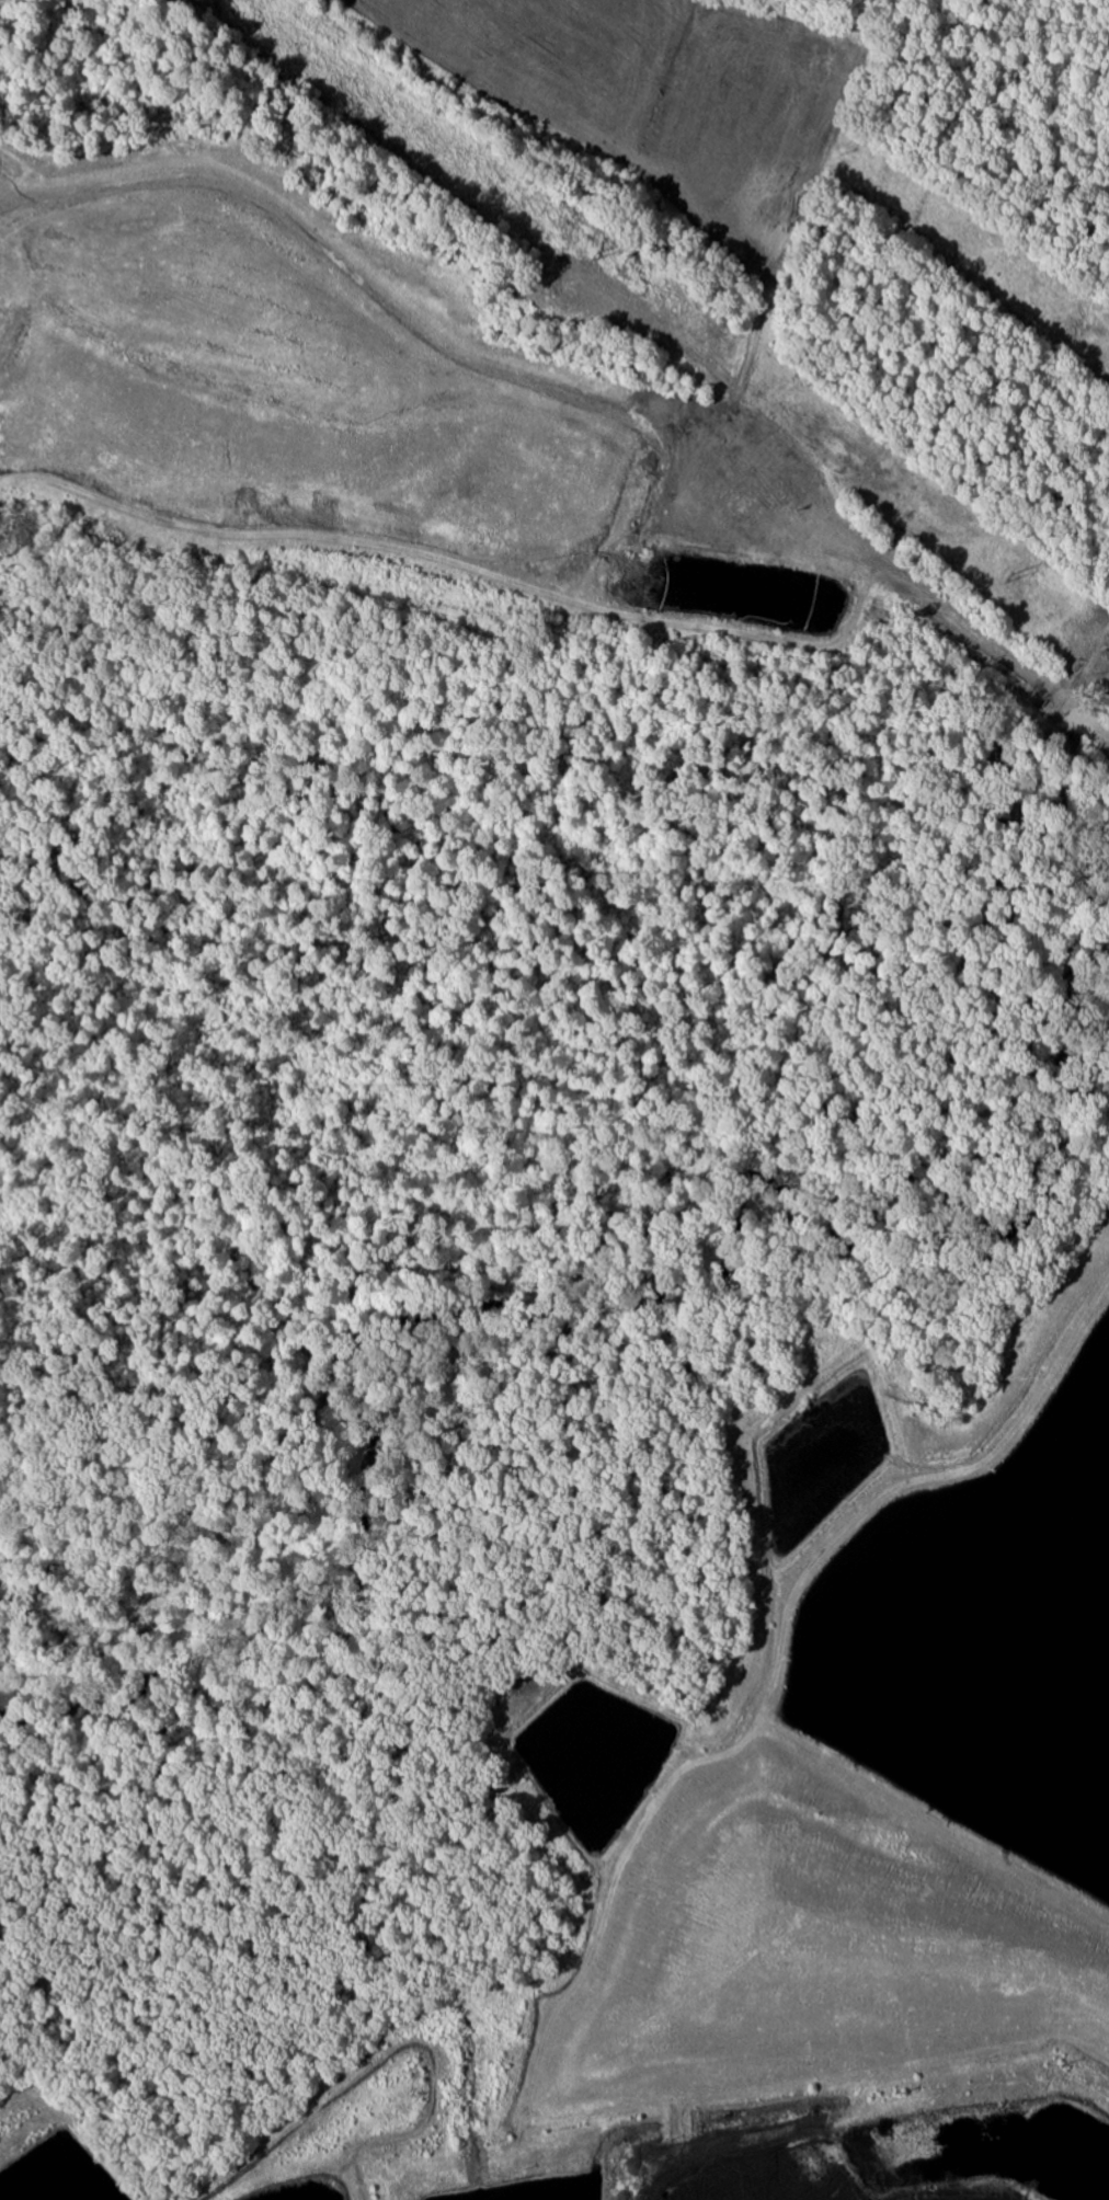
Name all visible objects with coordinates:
quarry: (382, 415)
road: (159, 1076)
quarry: (818, 2144)

